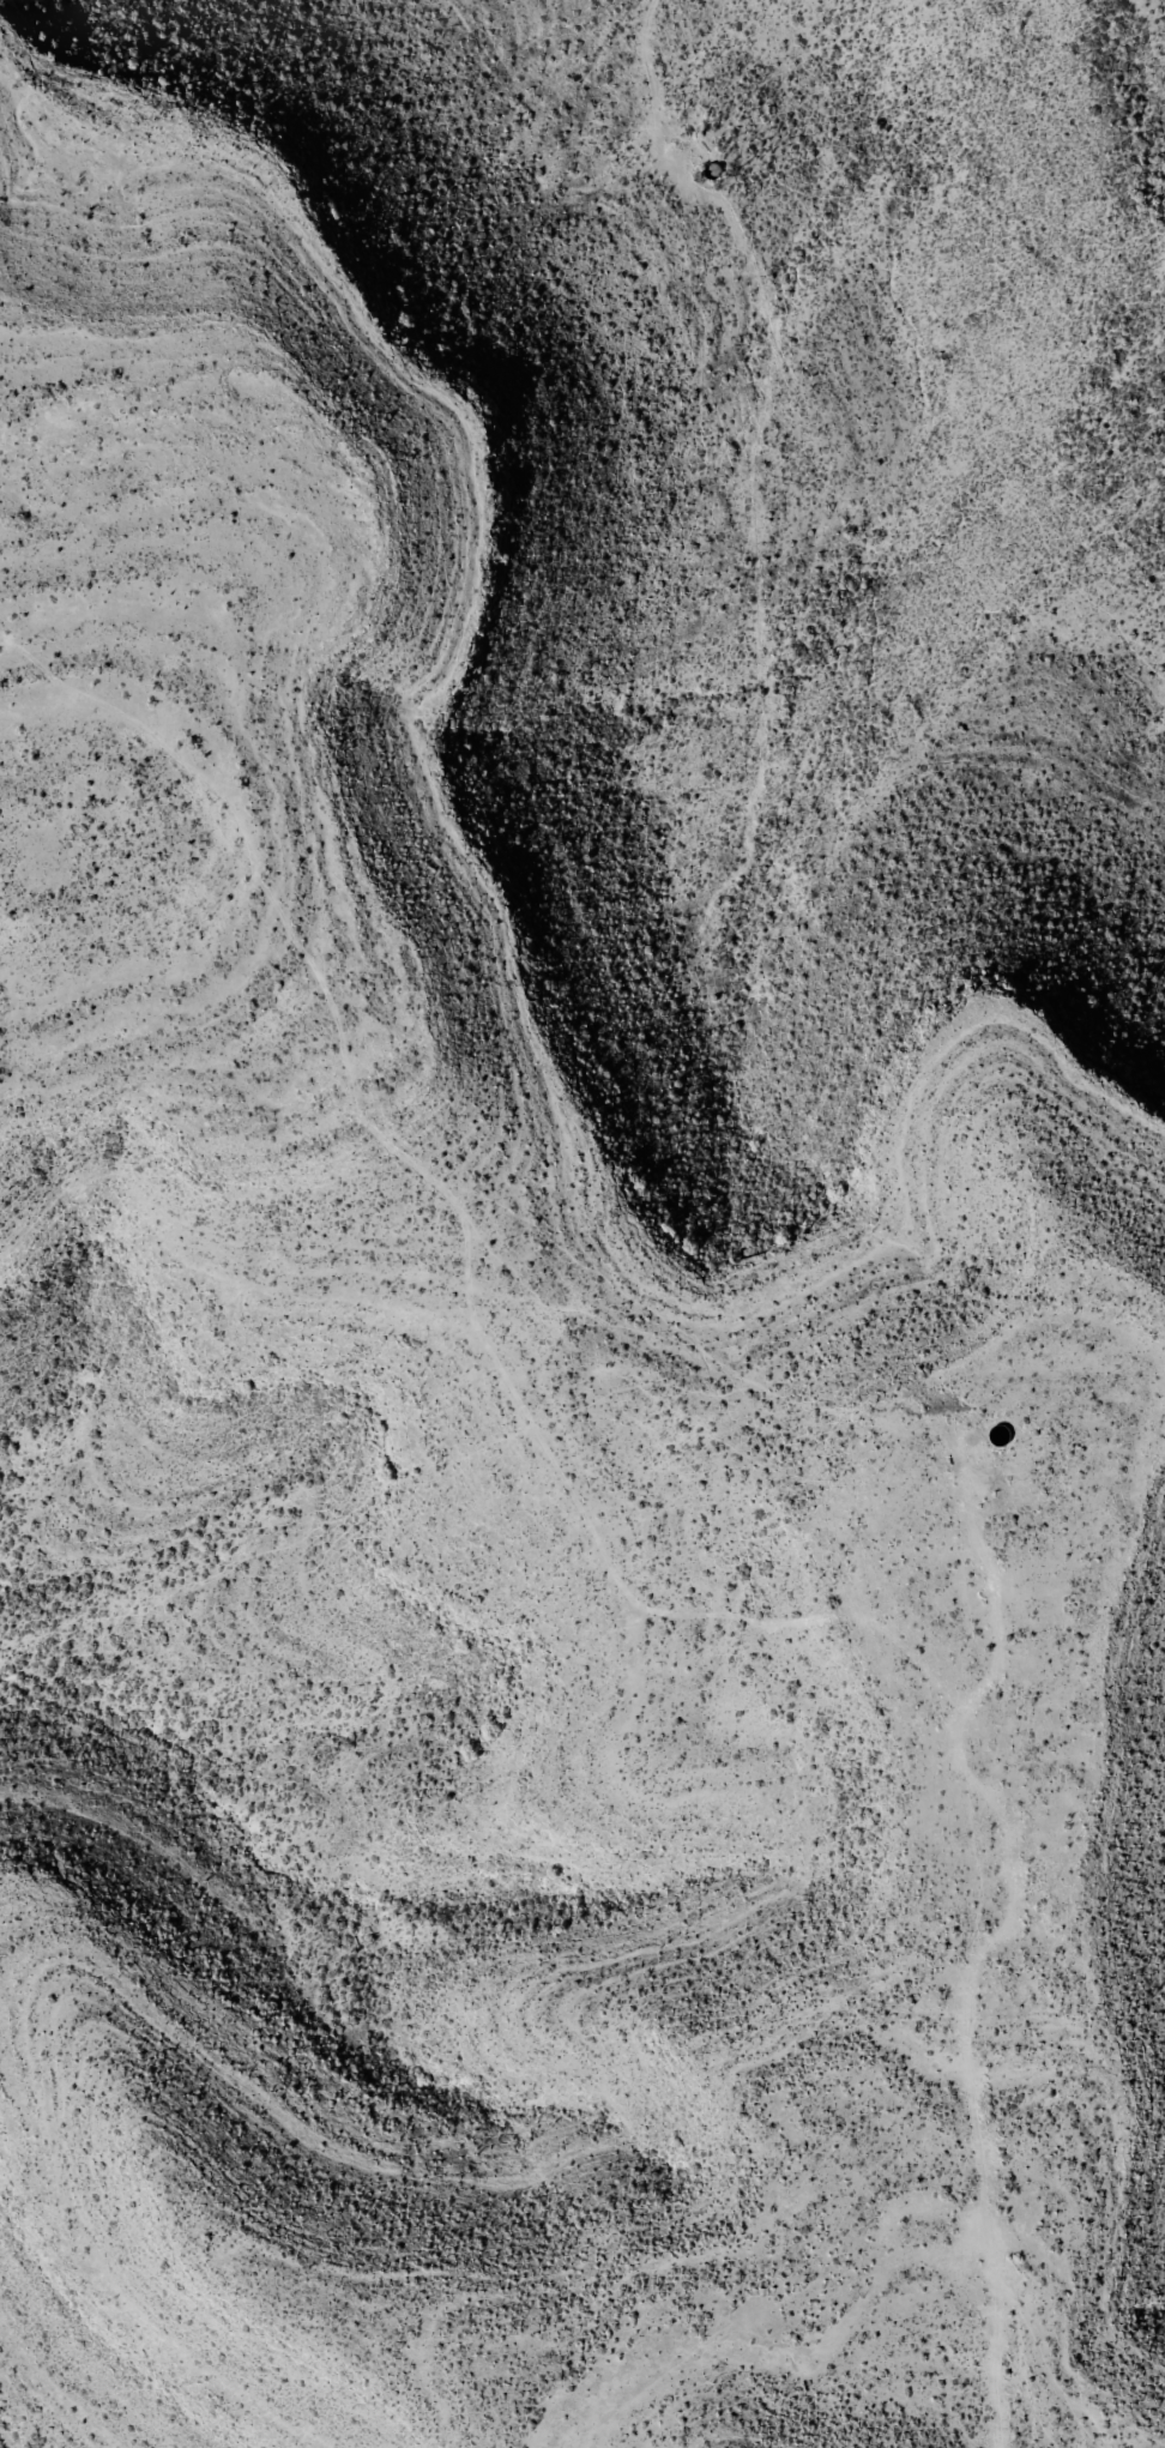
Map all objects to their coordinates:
road: (677, 92)

